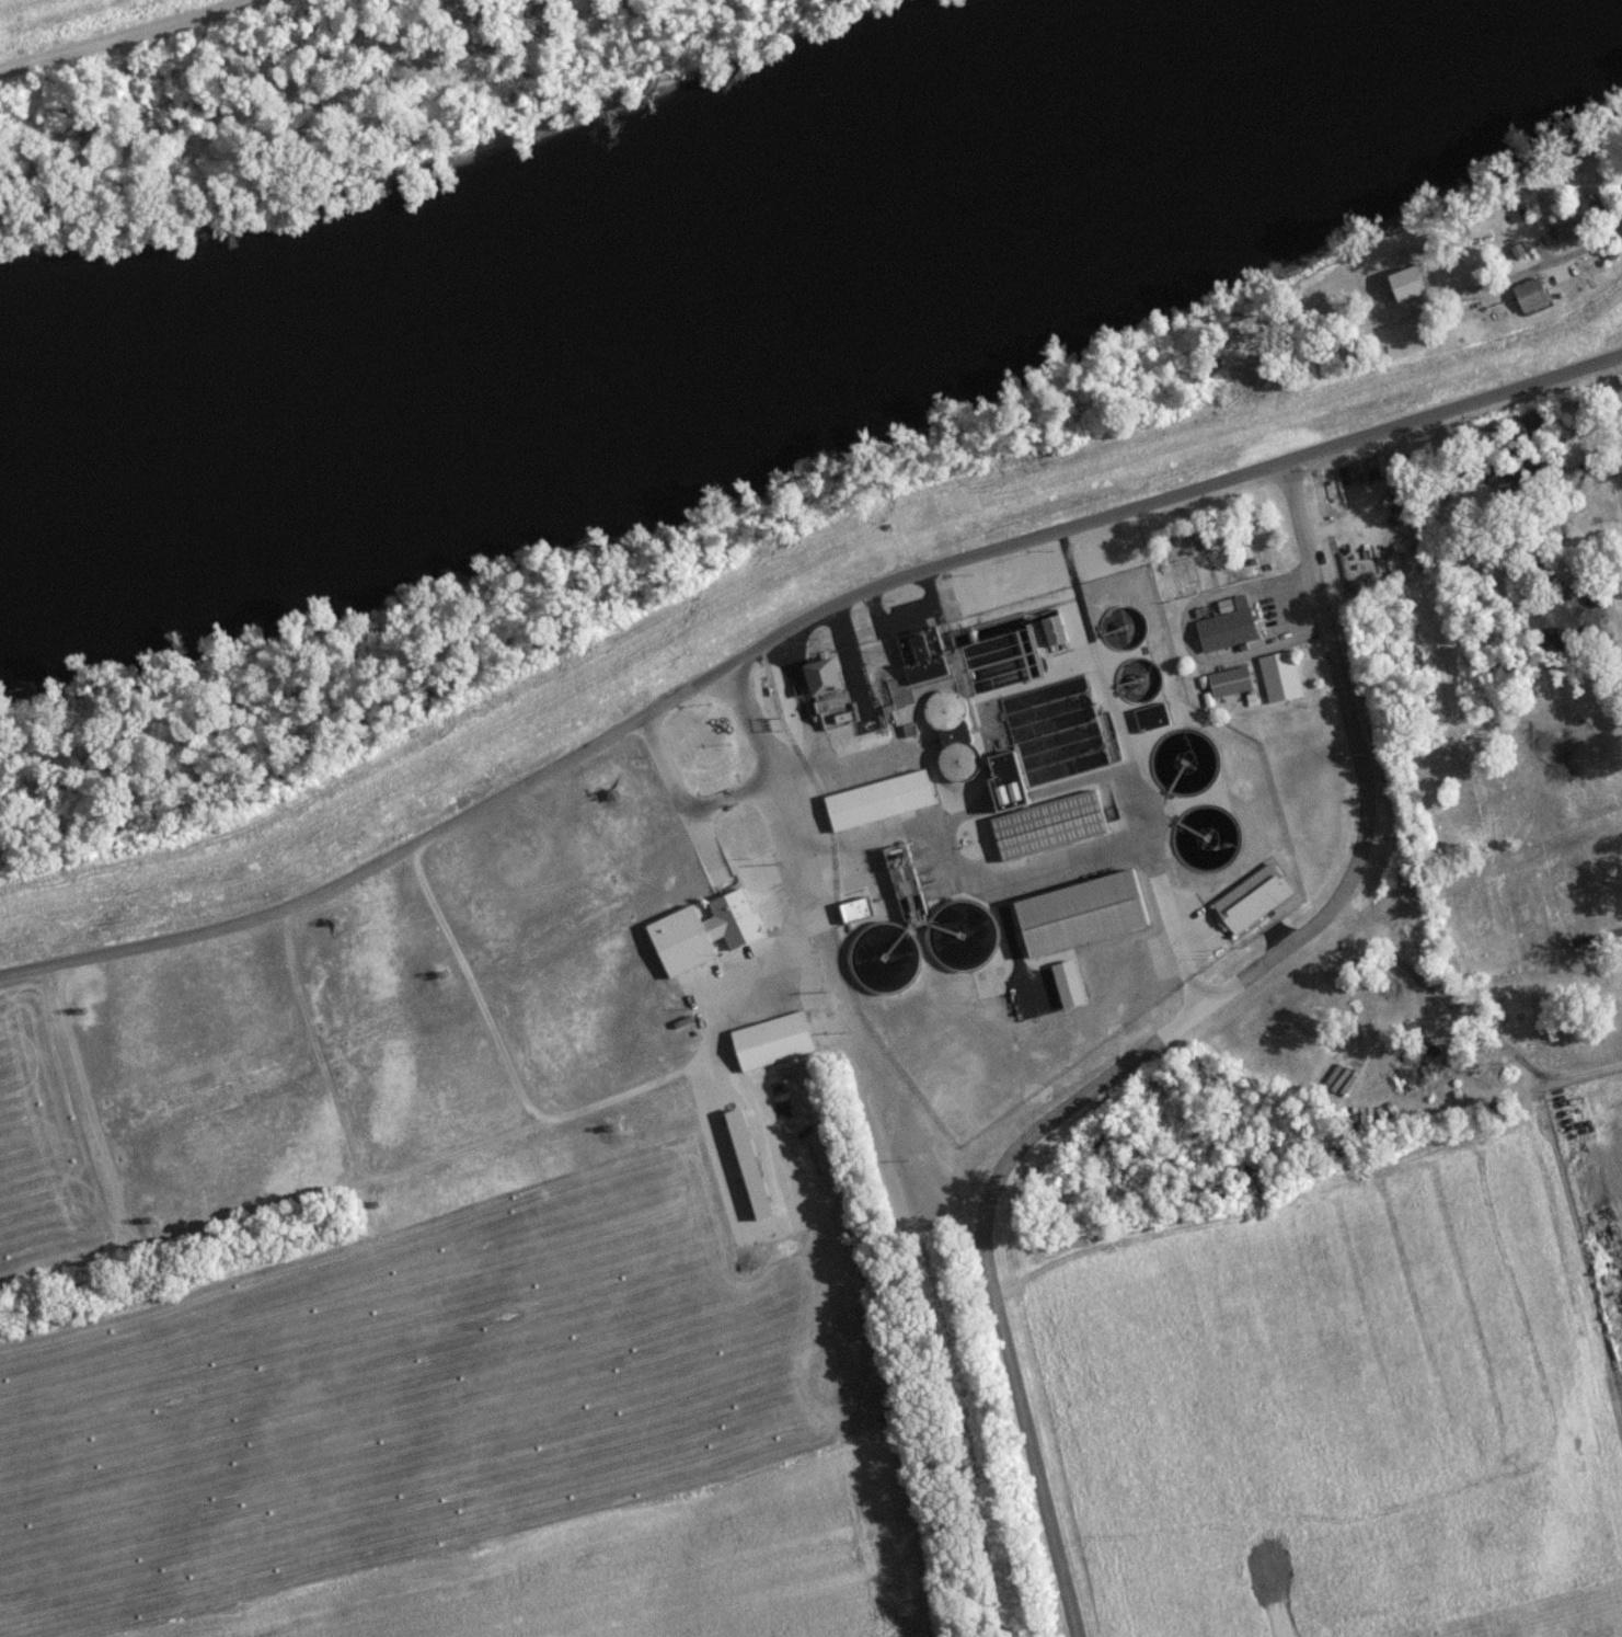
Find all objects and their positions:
road: (134, 38)
building: (1595, 216)
building: (1567, 237)
river: (698, 267)
road: (1511, 275)
building: (1595, 281)
building: (1531, 301)
building: (1254, 384)
road: (1163, 503)
parking lot: (1281, 613)
building: (1123, 630)
storage tank: (1123, 630)
building: (1055, 640)
building: (1239, 662)
building: (968, 675)
building: (1137, 683)
storage tank: (1137, 683)
building: (824, 684)
building: (1152, 724)
building: (1180, 782)
building: (881, 805)
wastewater plant: (1027, 820)
building: (1039, 821)
building: (1203, 846)
road: (376, 871)
building: (1253, 903)
building: (1083, 921)
building: (963, 940)
building: (887, 964)
building: (1068, 991)
road: (474, 993)
road: (1160, 1045)
building: (772, 1048)
road: (1585, 1072)
road: (562, 1122)
building: (1596, 1182)

